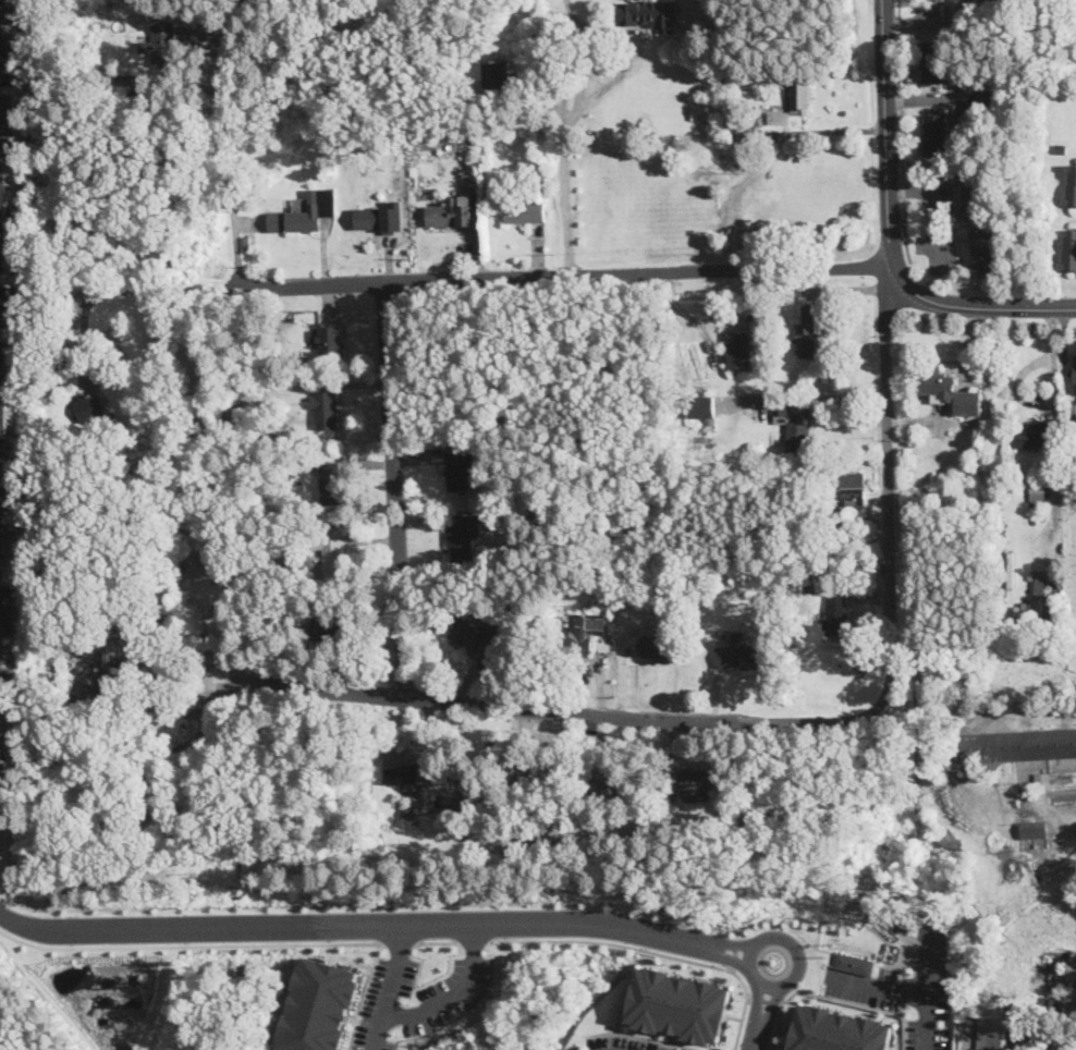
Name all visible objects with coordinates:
building: (1015, 2)
building: (594, 10)
building: (658, 11)
building: (158, 46)
building: (933, 63)
parking lot: (7, 73)
building: (961, 74)
building: (498, 75)
building: (716, 76)
road: (610, 81)
building: (110, 85)
building: (127, 85)
building: (797, 88)
building: (747, 91)
building: (695, 113)
building: (461, 114)
building: (779, 118)
building: (707, 125)
building: (963, 126)
building: (464, 130)
road: (901, 131)
building: (750, 134)
building: (937, 135)
road: (563, 136)
building: (729, 138)
building: (393, 144)
building: (1060, 148)
road: (229, 157)
road: (2, 162)
building: (525, 170)
building: (539, 180)
building: (1071, 185)
building: (974, 194)
road: (934, 206)
building: (524, 211)
building: (450, 215)
building: (4, 216)
building: (297, 217)
building: (374, 219)
road: (888, 234)
building: (983, 251)
building: (1068, 251)
road: (561, 274)
road: (7, 282)
road: (142, 290)
road: (8, 303)
parking lot: (9, 304)
building: (293, 316)
building: (749, 317)
road: (9, 326)
building: (807, 333)
building: (330, 342)
building: (738, 351)
building: (81, 357)
building: (1075, 373)
building: (4, 390)
building: (949, 392)
road: (834, 398)
building: (89, 407)
building: (325, 410)
building: (706, 414)
building: (1069, 422)
building: (796, 427)
building: (57, 434)
building: (1032, 435)
building: (712, 438)
building: (269, 439)
building: (683, 439)
building: (49, 459)
building: (268, 467)
building: (458, 471)
building: (329, 484)
road: (888, 484)
building: (852, 485)
building: (1037, 488)
road: (393, 489)
building: (871, 496)
building: (3, 508)
building: (824, 508)
building: (863, 520)
building: (540, 523)
building: (830, 523)
building: (309, 524)
building: (826, 530)
building: (864, 533)
building: (458, 537)
building: (235, 541)
building: (331, 551)
building: (210, 566)
building: (672, 584)
building: (681, 601)
building: (1040, 602)
parking lot: (5, 609)
building: (834, 616)
building: (341, 630)
building: (475, 636)
building: (577, 636)
building: (659, 649)
building: (738, 654)
parking lot: (5, 668)
building: (111, 684)
road: (323, 689)
road: (215, 701)
road: (3, 707)
road: (649, 718)
building: (1013, 746)
building: (0, 747)
building: (406, 769)
building: (549, 776)
building: (695, 782)
building: (117, 784)
building: (604, 785)
building: (468, 786)
building: (478, 786)
building: (620, 787)
building: (668, 799)
building: (430, 810)
building: (1034, 830)
building: (651, 834)
building: (391, 862)
road: (387, 925)
road: (438, 941)
road: (475, 941)
road: (398, 942)
road: (187, 945)
road: (655, 951)
building: (851, 964)
building: (1073, 966)
building: (1059, 980)
road: (389, 987)
road: (879, 988)
road: (925, 991)
road: (454, 994)
road: (364, 996)
road: (834, 998)
road: (765, 1001)
parking lot: (382, 1003)
building: (681, 1004)
road: (763, 1004)
building: (320, 1005)
building: (831, 1027)
building: (992, 1034)
road: (645, 1036)
parking lot: (627, 1043)
building: (1063, 1045)
parking lot: (577, 1049)

